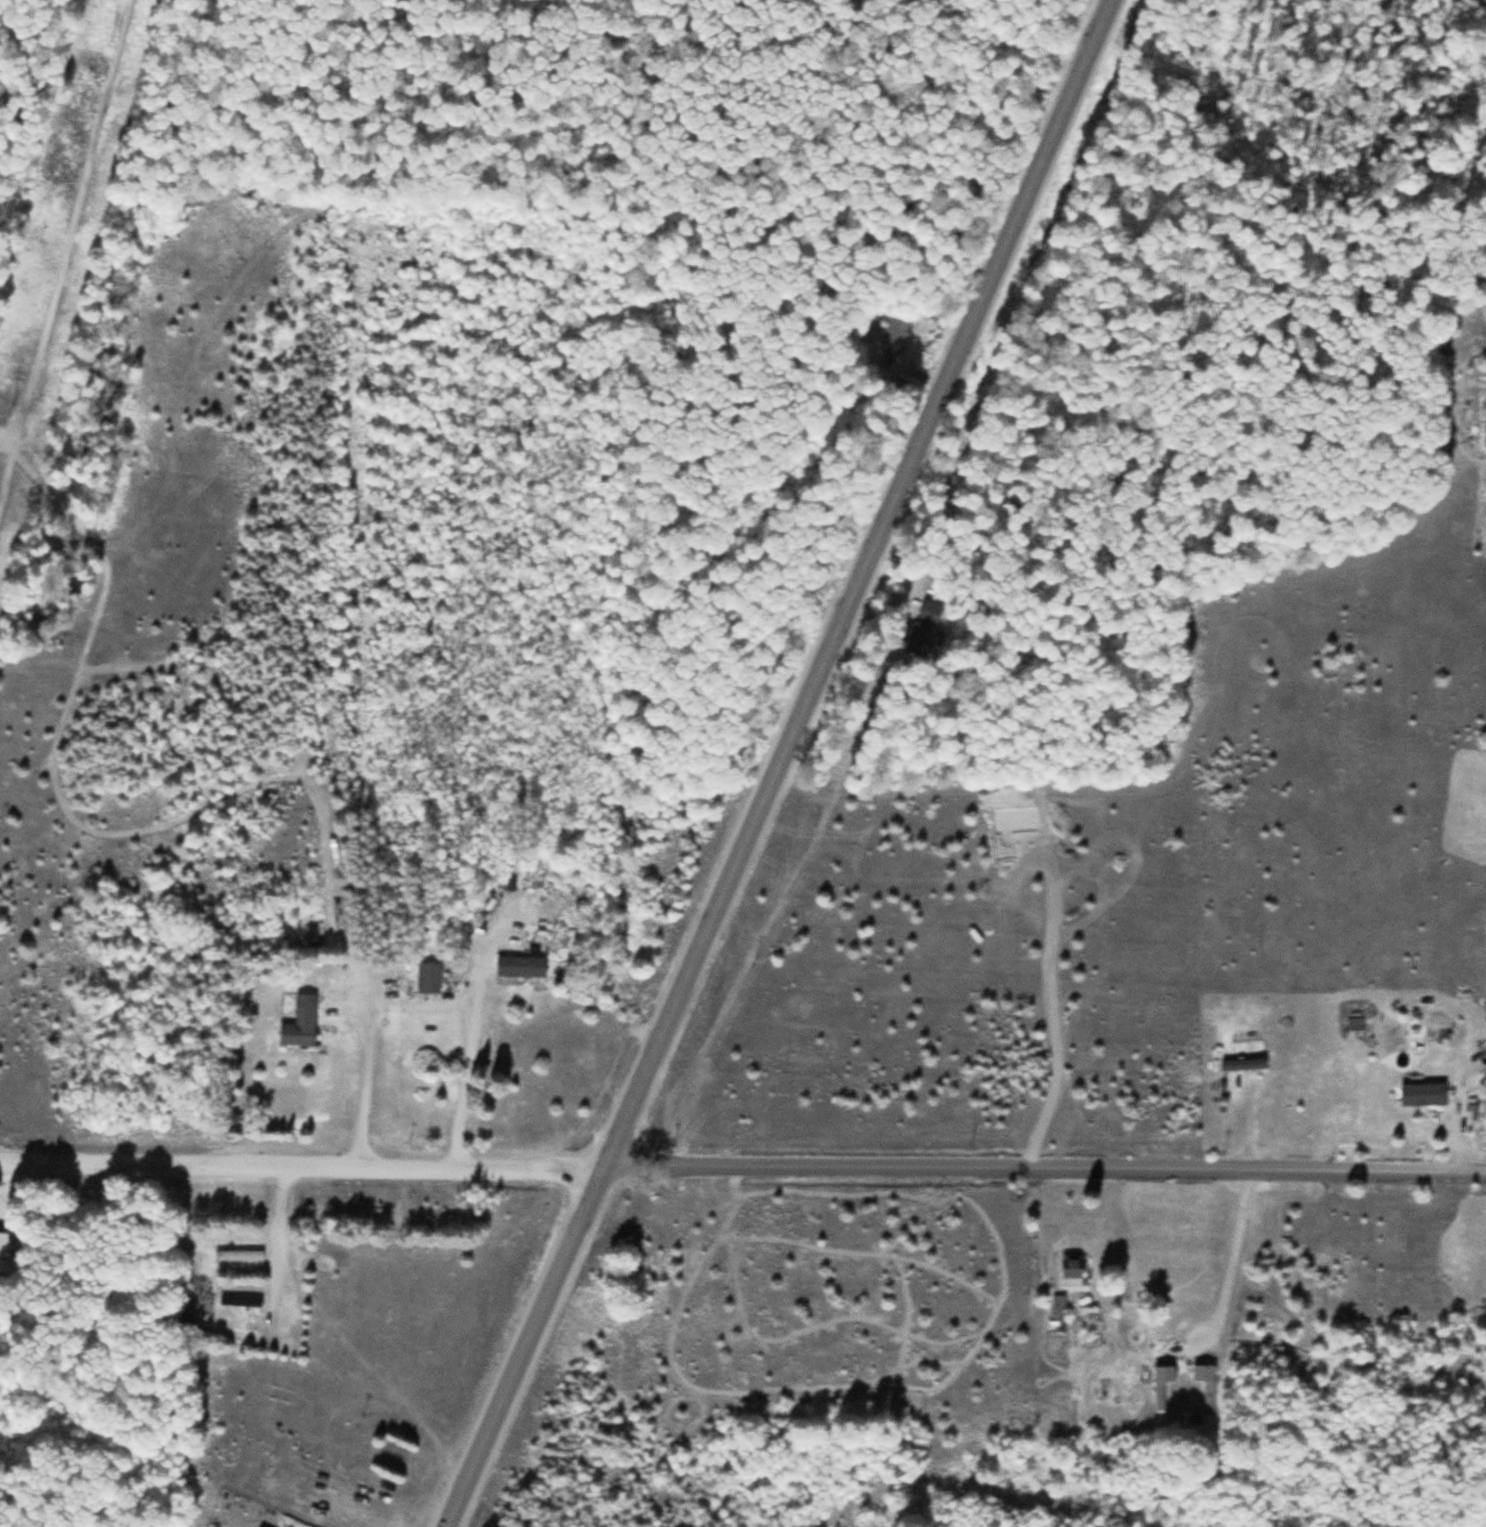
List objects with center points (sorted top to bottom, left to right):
building: (1485, 301)
building: (894, 334)
building: (924, 630)
road: (776, 762)
building: (520, 966)
building: (428, 978)
building: (300, 1023)
building: (1354, 1023)
building: (1242, 1064)
building: (1422, 1094)
road: (743, 1169)
building: (4, 1242)
building: (238, 1255)
building: (1072, 1270)
building: (240, 1300)
building: (1057, 1313)
building: (1161, 1385)
building: (1206, 1385)
building: (393, 1456)

